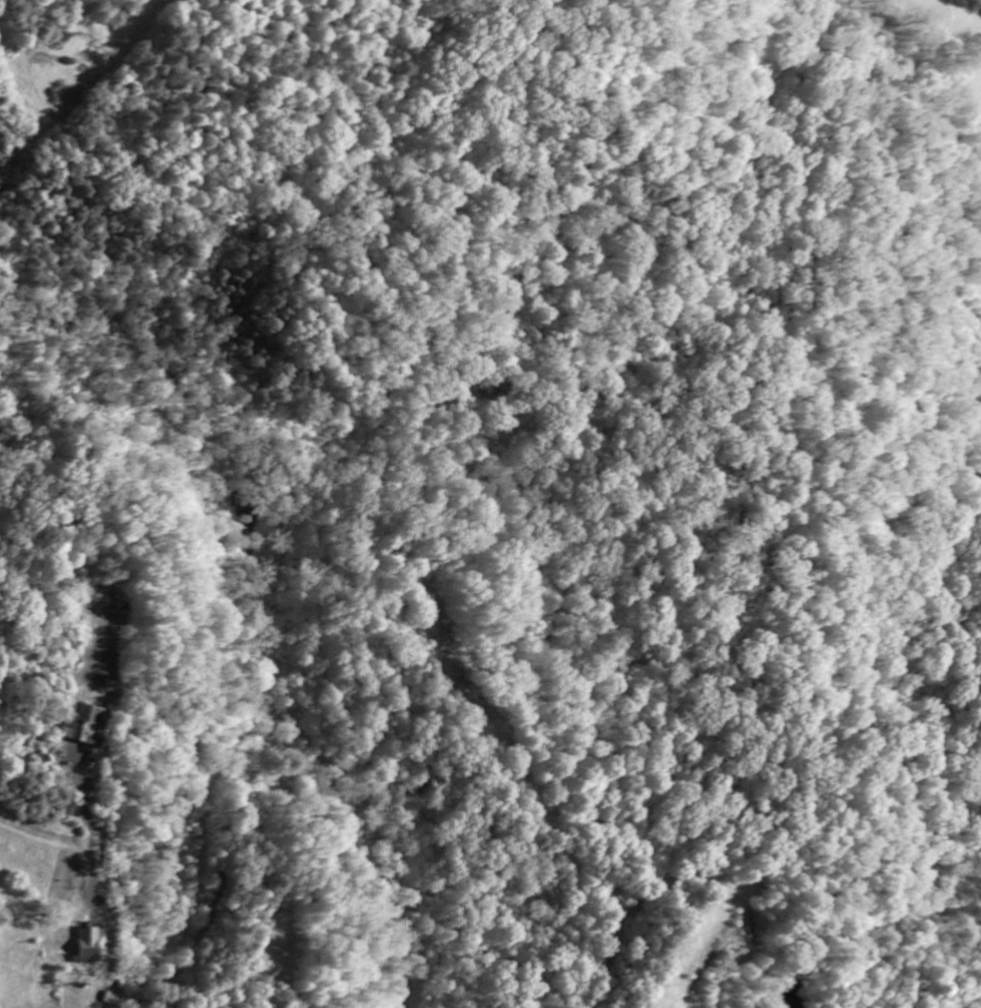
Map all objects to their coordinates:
building: (86, 725)
road: (123, 903)
building: (89, 948)

